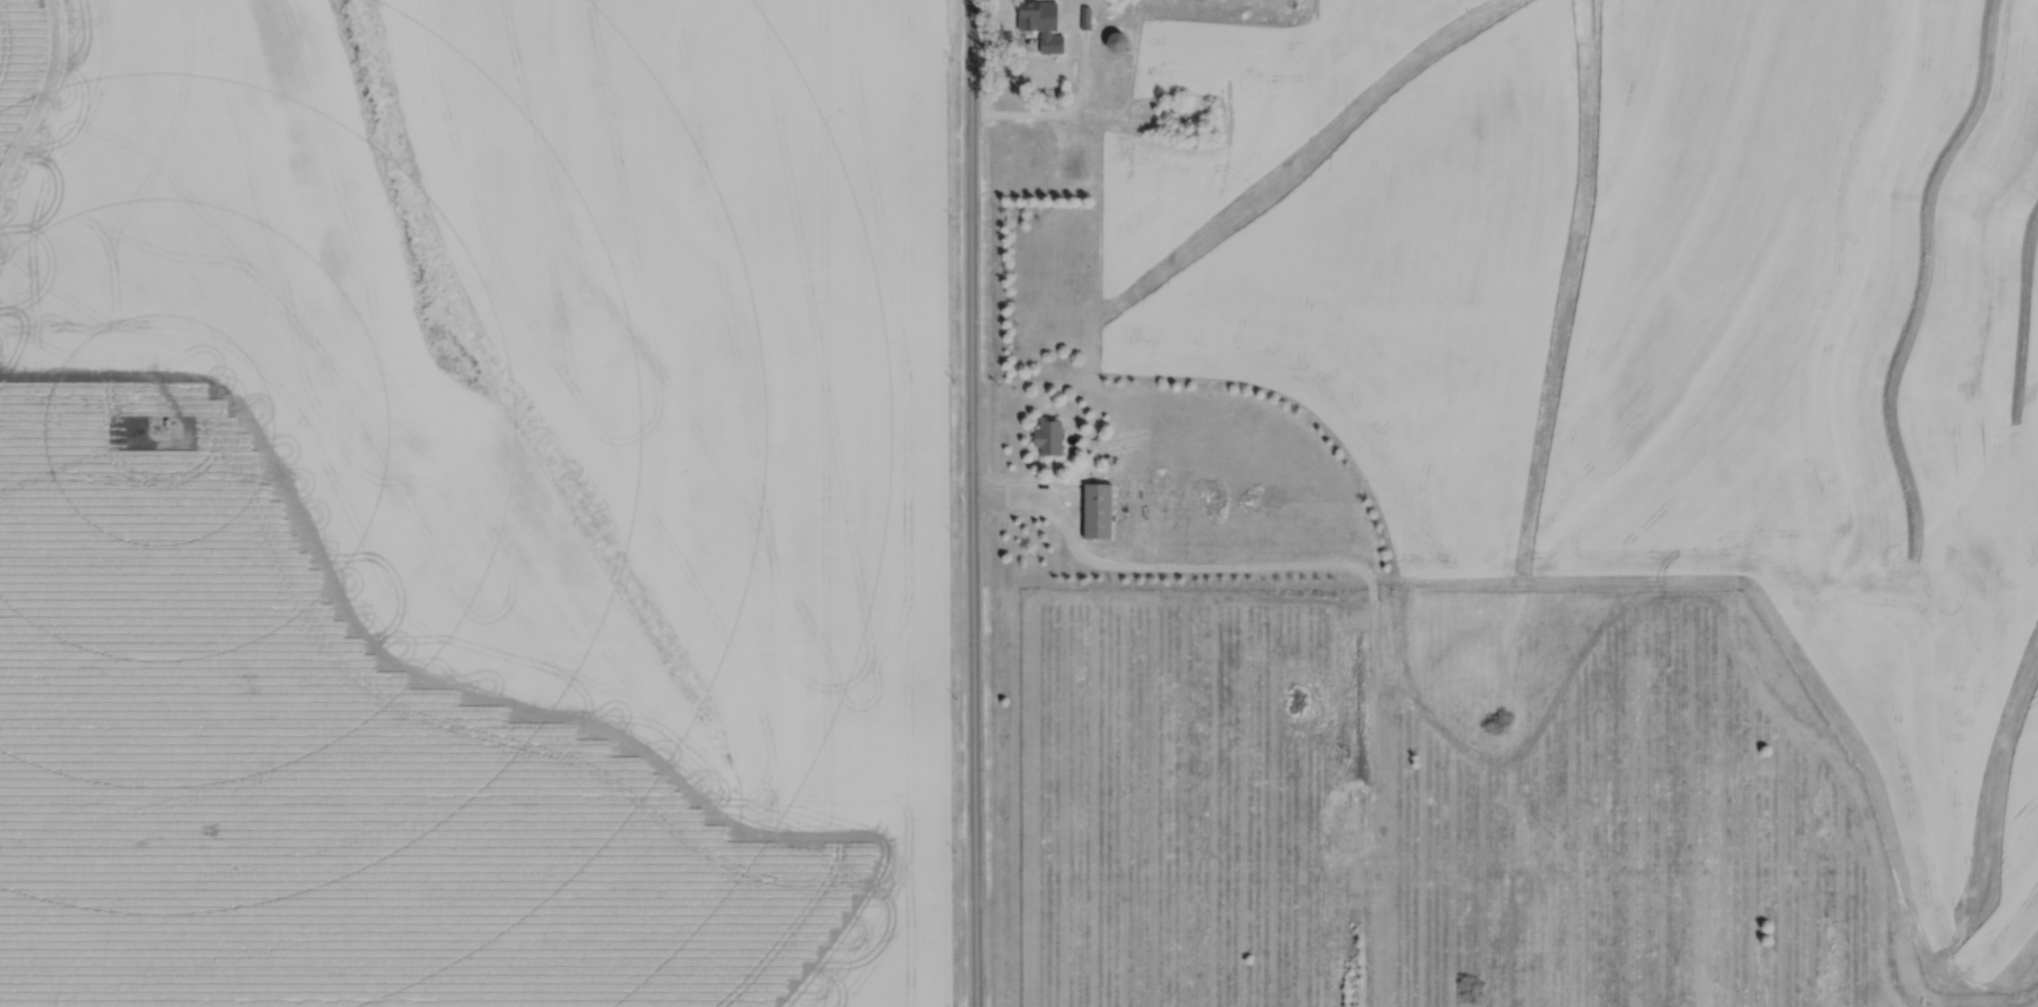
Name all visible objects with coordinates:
building: (1085, 17)
building: (1041, 30)
road: (1005, 42)
building: (1112, 43)
road: (1061, 110)
building: (1072, 164)
building: (1050, 437)
road: (972, 503)
building: (1100, 509)
road: (1202, 566)

